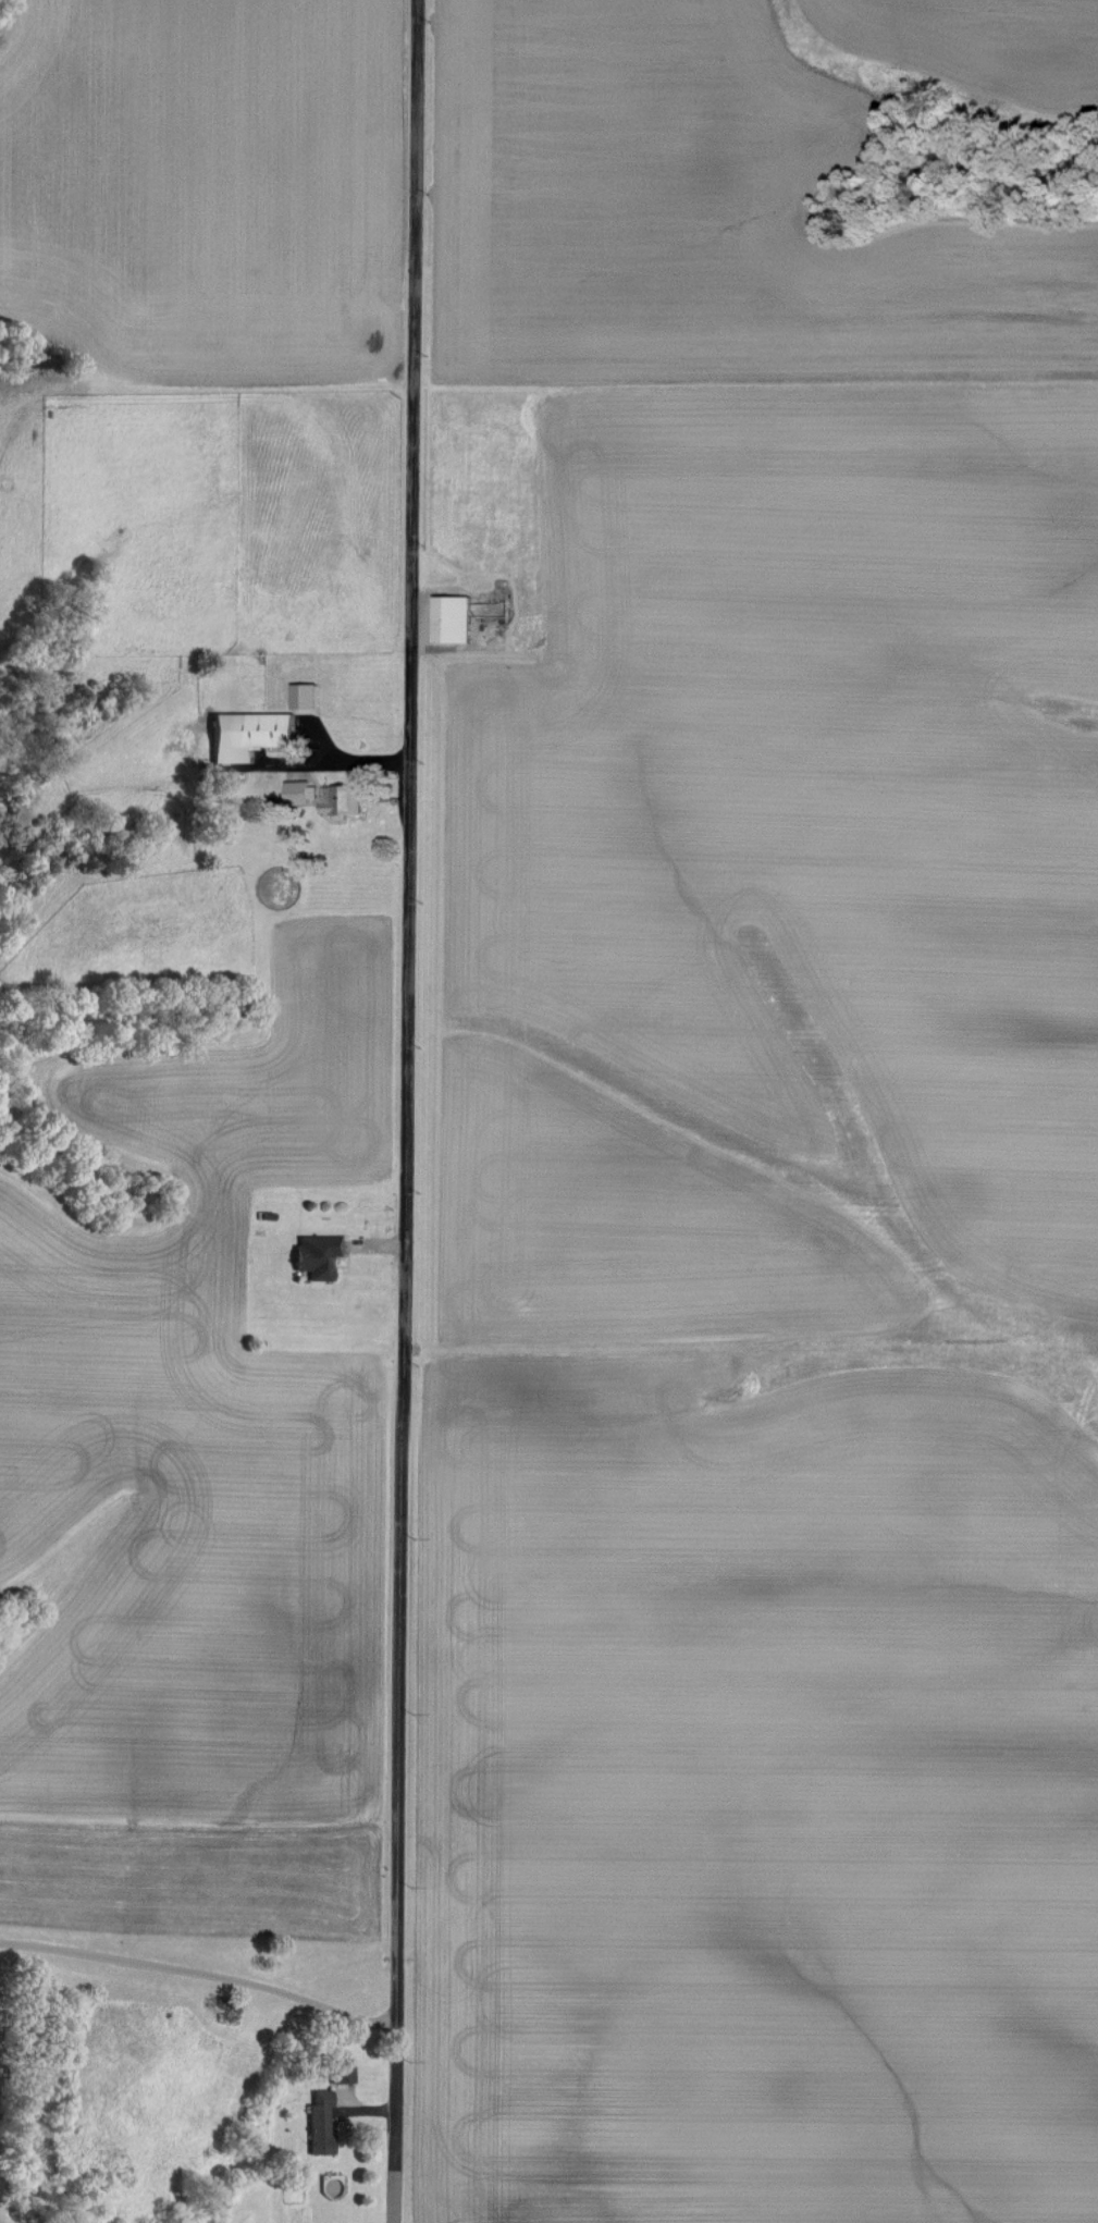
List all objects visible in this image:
building: (449, 621)
building: (247, 736)
building: (294, 793)
building: (337, 801)
road: (406, 1111)
building: (317, 1254)
road: (200, 1975)
building: (341, 2071)
building: (318, 2124)

